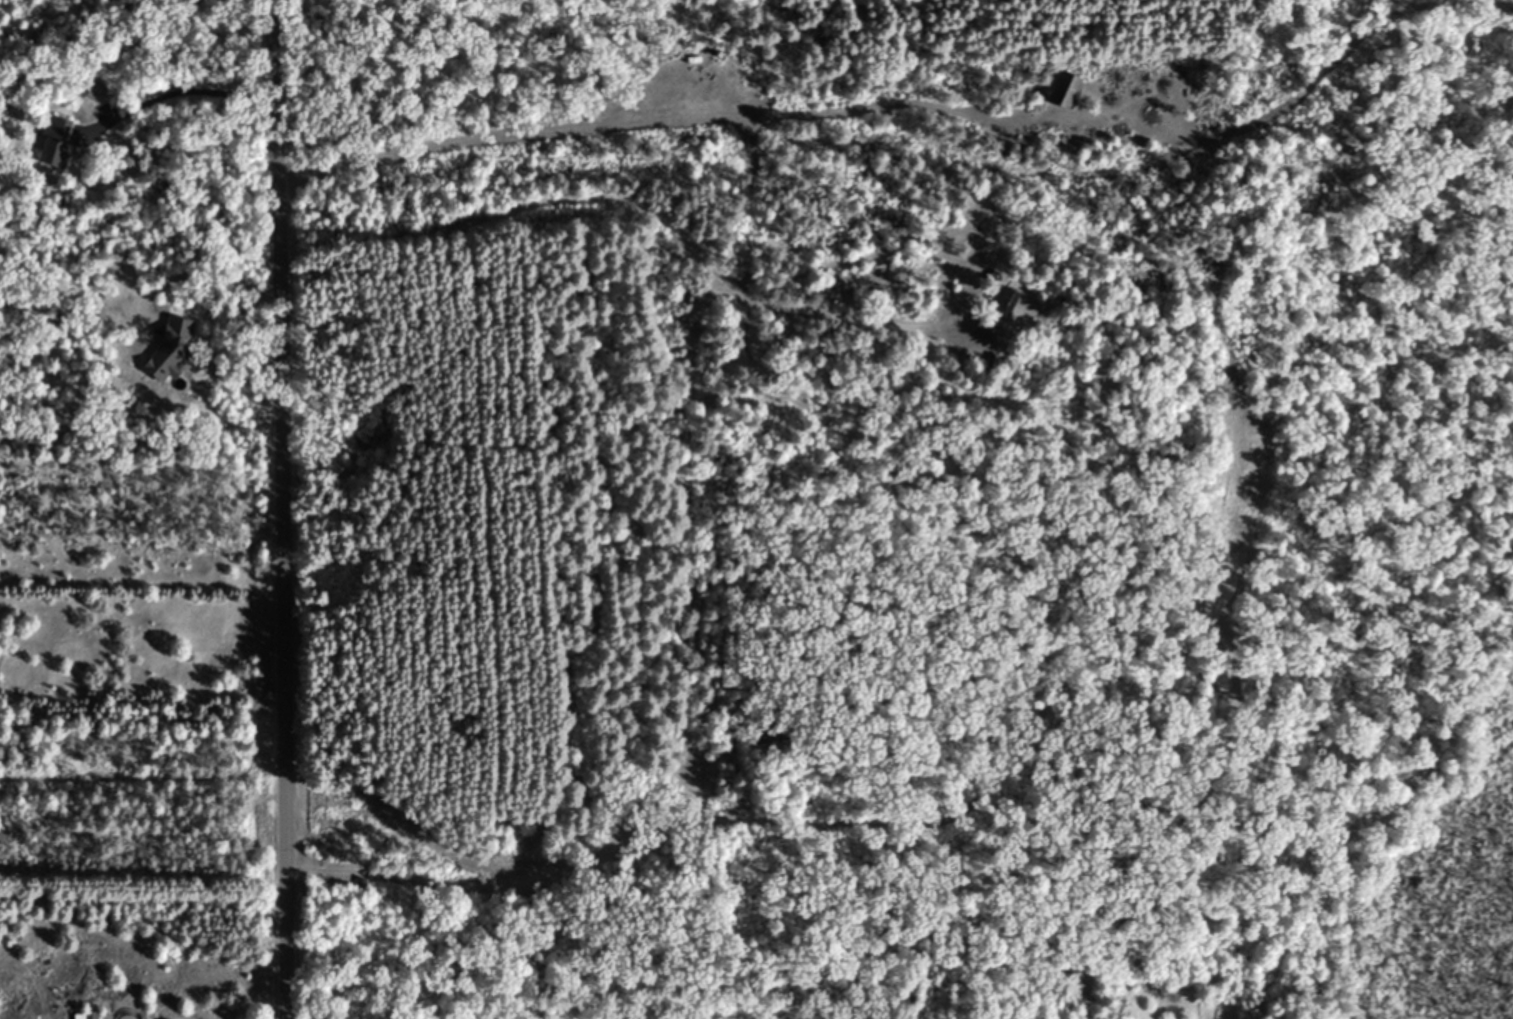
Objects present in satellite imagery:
park: (889, 38)
building: (1065, 88)
building: (95, 93)
road: (176, 95)
building: (53, 141)
road: (192, 276)
building: (983, 327)
road: (273, 509)
building: (86, 1015)

